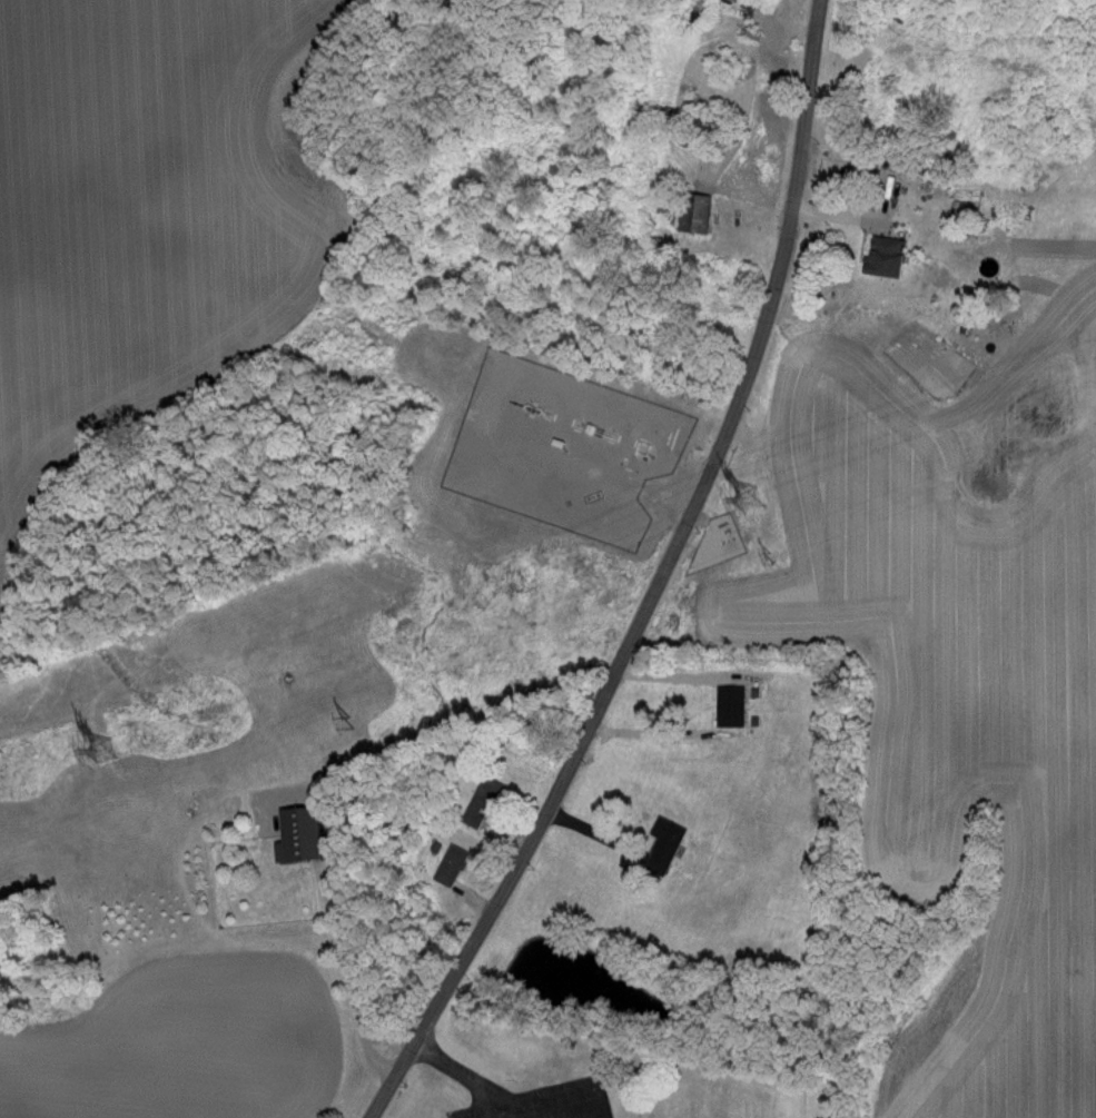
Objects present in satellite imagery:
building: (694, 211)
building: (888, 254)
power tower: (750, 497)
road: (658, 582)
building: (730, 705)
power tower: (100, 750)
building: (485, 798)
building: (326, 825)
building: (300, 833)
building: (664, 844)
building: (452, 863)
road: (345, 946)
road: (465, 1074)

